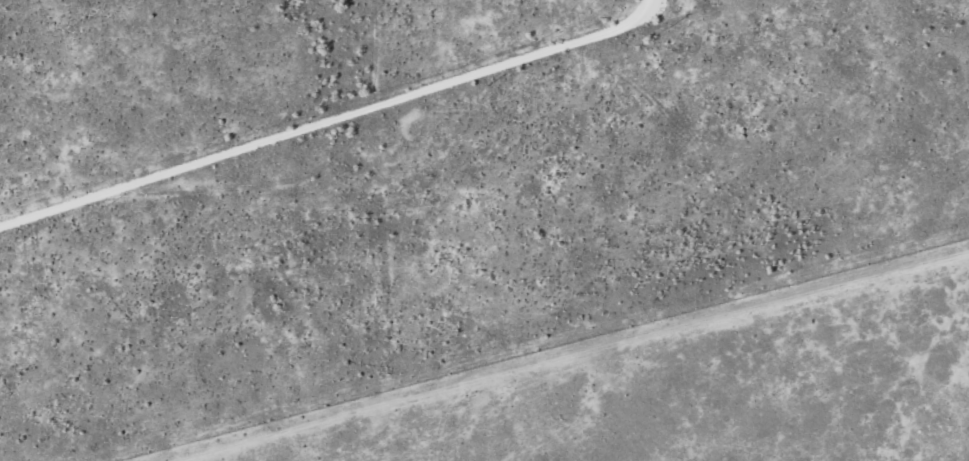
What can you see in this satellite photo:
road: (638, 372)

